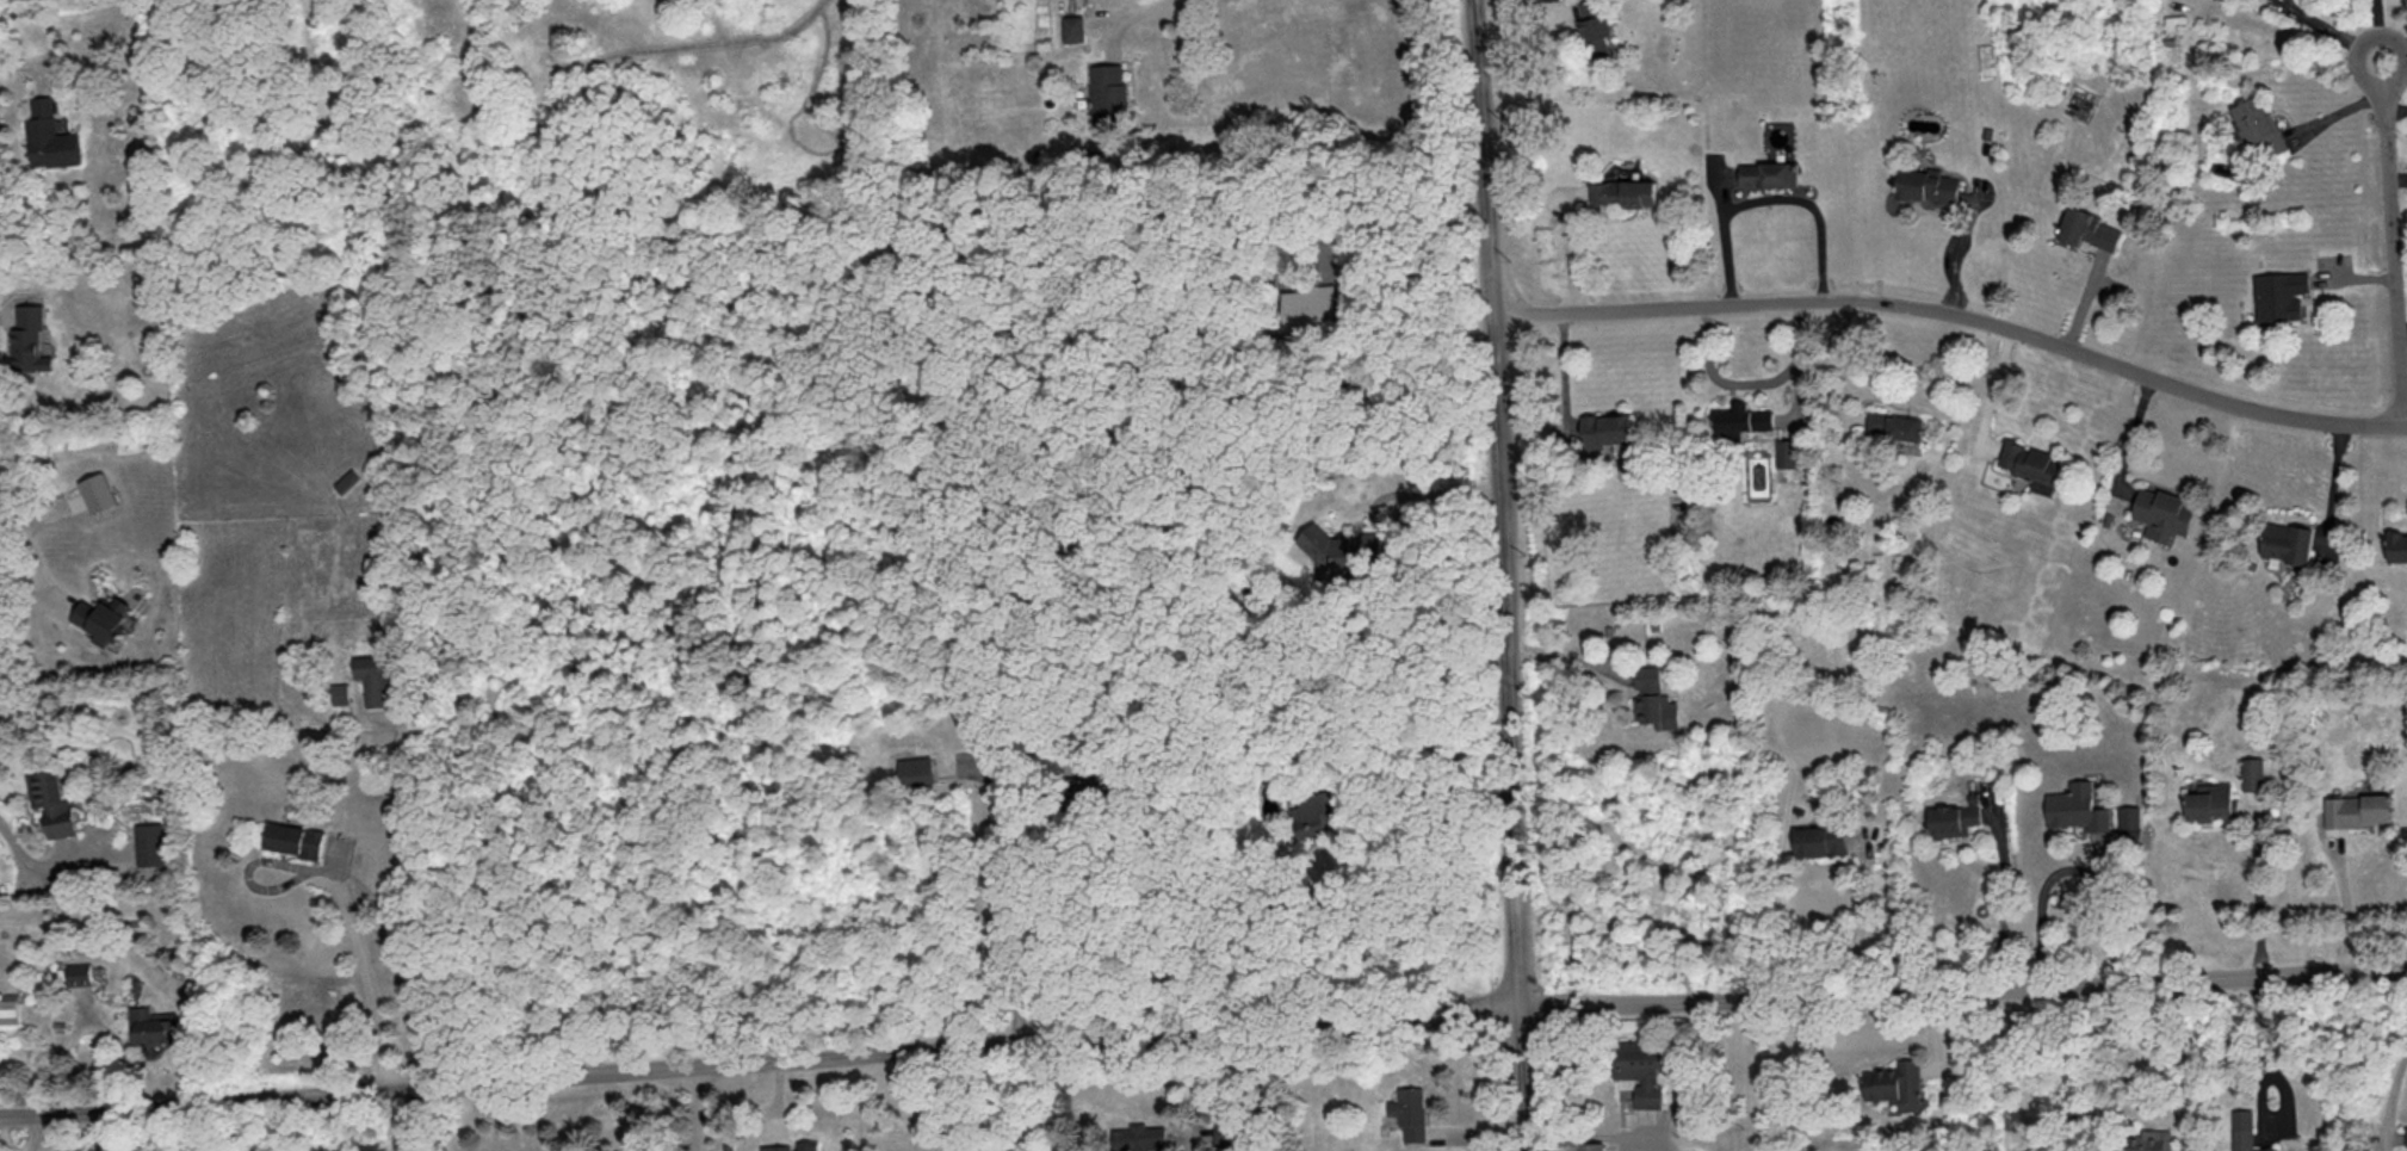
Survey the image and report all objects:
road: (1134, 13)
building: (1596, 25)
building: (1075, 27)
road: (18, 61)
building: (1109, 95)
road: (2394, 113)
building: (2258, 126)
building: (49, 135)
building: (1768, 173)
building: (1926, 185)
building: (1622, 191)
road: (1769, 200)
road: (1396, 227)
building: (2087, 228)
road: (2391, 242)
road: (1572, 247)
road: (1955, 252)
building: (2278, 293)
building: (1310, 305)
road: (1957, 315)
building: (30, 339)
road: (1843, 364)
road: (1566, 378)
road: (1756, 383)
road: (1994, 390)
building: (1743, 419)
building: (1894, 425)
building: (1607, 428)
building: (1787, 452)
building: (2031, 464)
road: (1437, 489)
building: (99, 491)
building: (2162, 512)
building: (2287, 540)
building: (2396, 546)
building: (1345, 547)
road: (37, 556)
road: (1502, 575)
building: (106, 618)
building: (372, 677)
building: (340, 693)
building: (1653, 698)
building: (916, 769)
building: (2252, 772)
building: (51, 799)
building: (2210, 800)
building: (2077, 806)
building: (2357, 809)
building: (1316, 811)
building: (2129, 816)
building: (1951, 818)
building: (295, 839)
building: (1819, 839)
building: (149, 843)
road: (25, 856)
road: (2069, 866)
road: (2258, 897)
road: (1008, 904)
road: (1998, 911)
road: (2350, 911)
road: (1860, 920)
road: (1363, 952)
building: (79, 972)
road: (366, 973)
road: (1962, 992)
building: (10, 1007)
building: (153, 1025)
road: (2263, 1053)
road: (759, 1060)
road: (2184, 1065)
building: (1640, 1068)
road: (2025, 1070)
building: (1893, 1081)
road: (2391, 1096)
building: (1410, 1110)
road: (377, 1120)
building: (2245, 1131)
building: (1223, 1132)
building: (2406, 1134)
building: (1138, 1137)
building: (2148, 1140)
building: (793, 1146)
building: (1592, 1146)
building: (1696, 1150)

